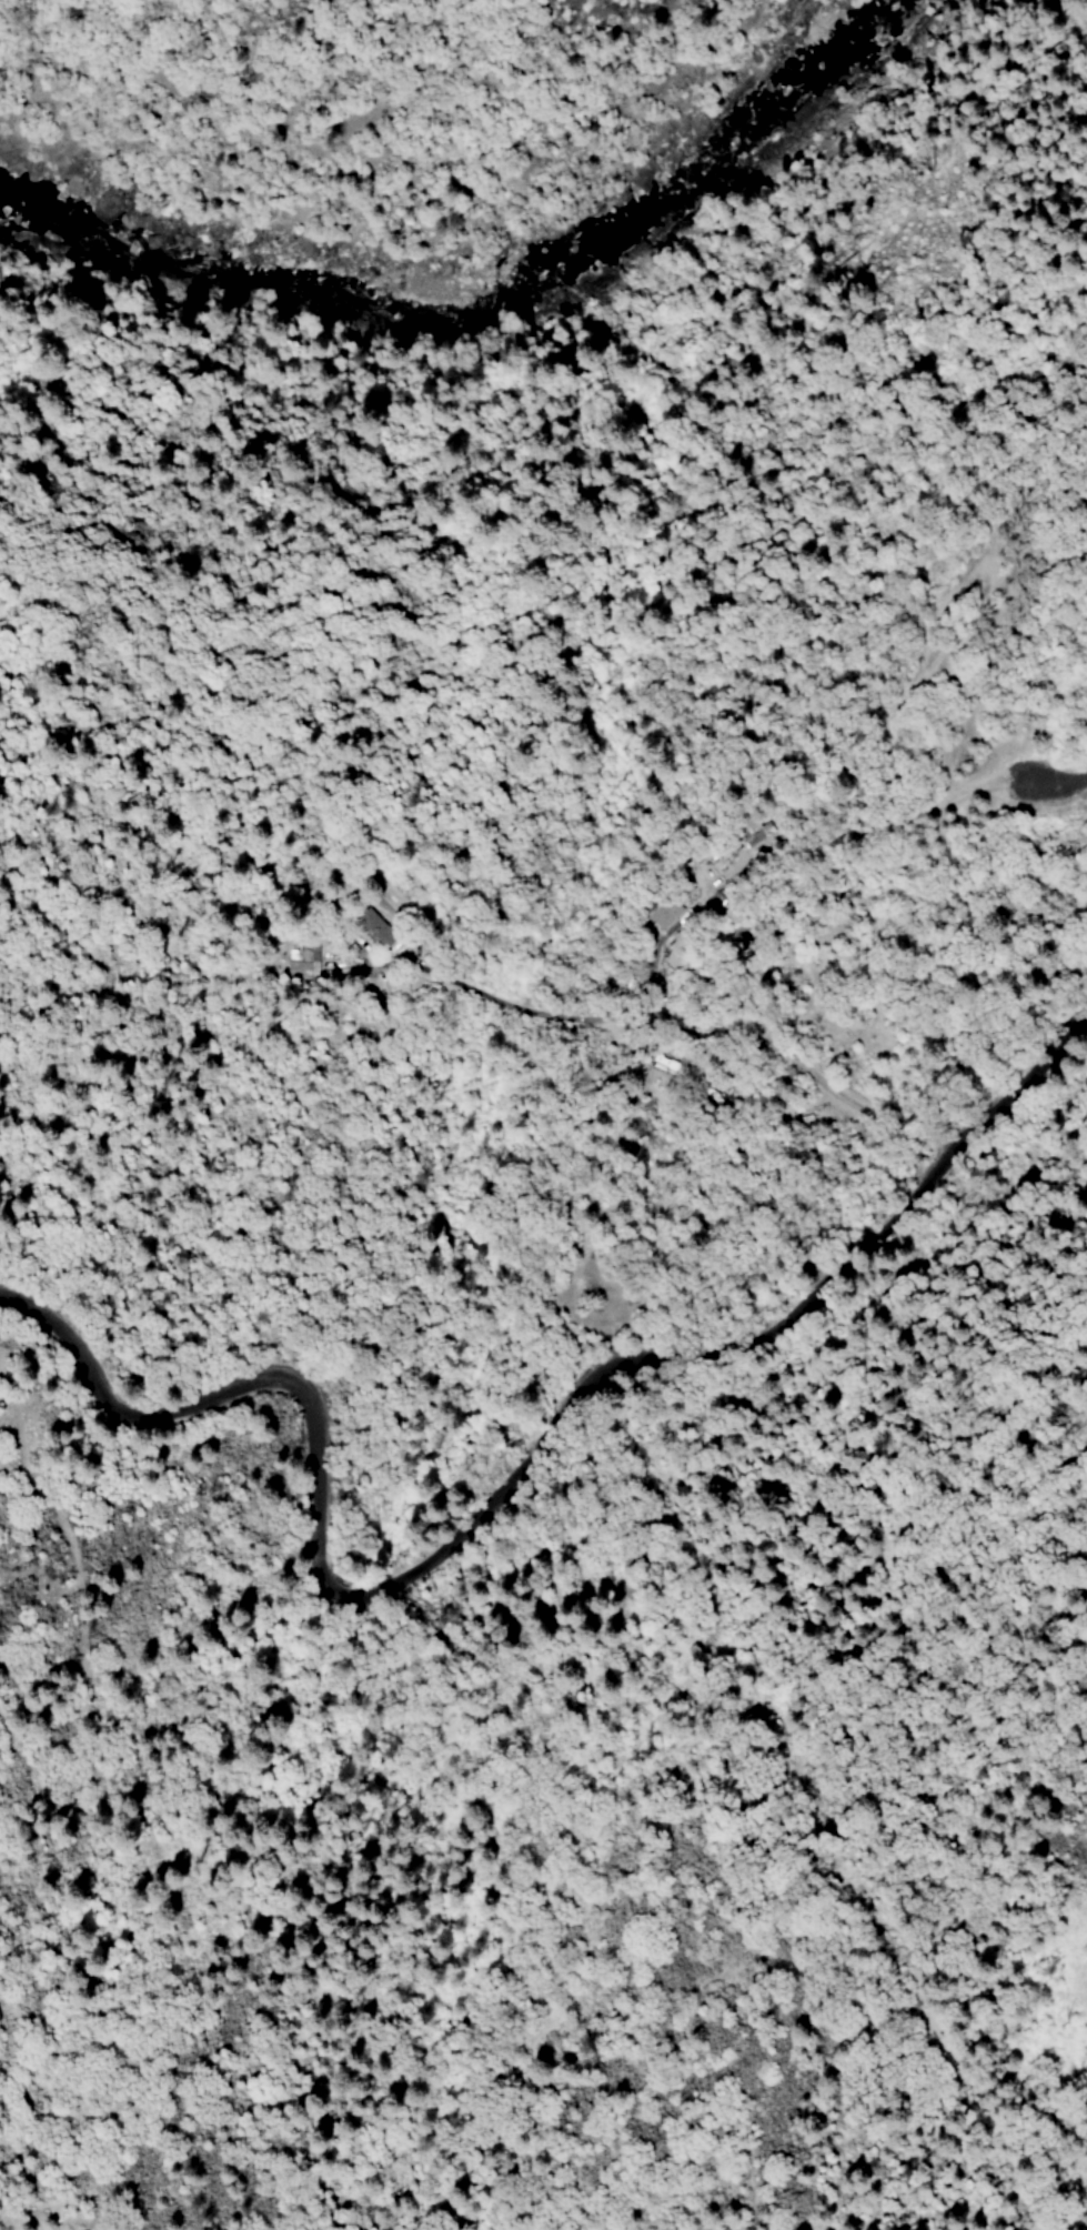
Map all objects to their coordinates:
river: (486, 281)
road: (1058, 781)
building: (668, 914)
building: (374, 928)
building: (673, 952)
crop: (746, 971)
road: (672, 1026)
road: (511, 1493)

